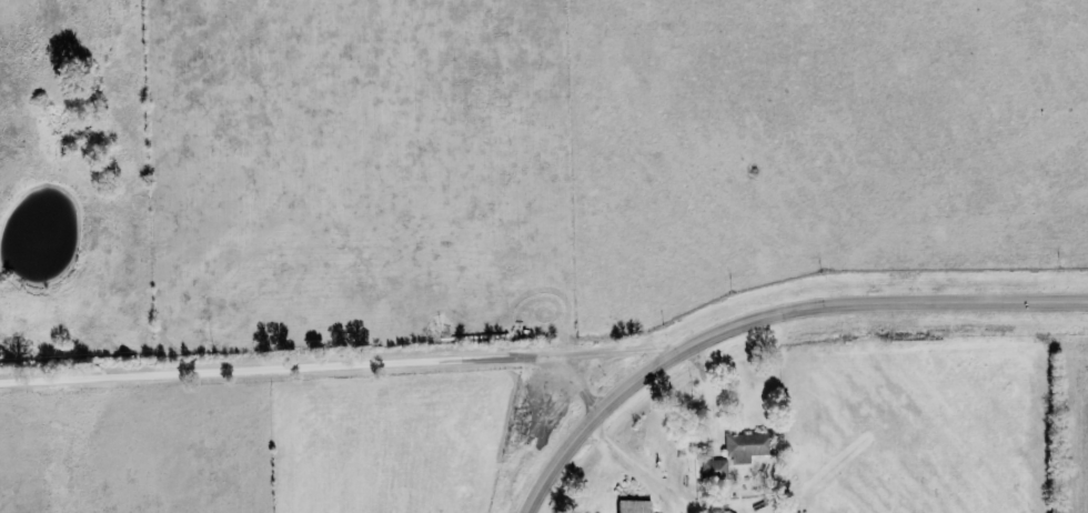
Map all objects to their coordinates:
road: (768, 316)
building: (744, 446)
building: (714, 470)
building: (632, 505)

